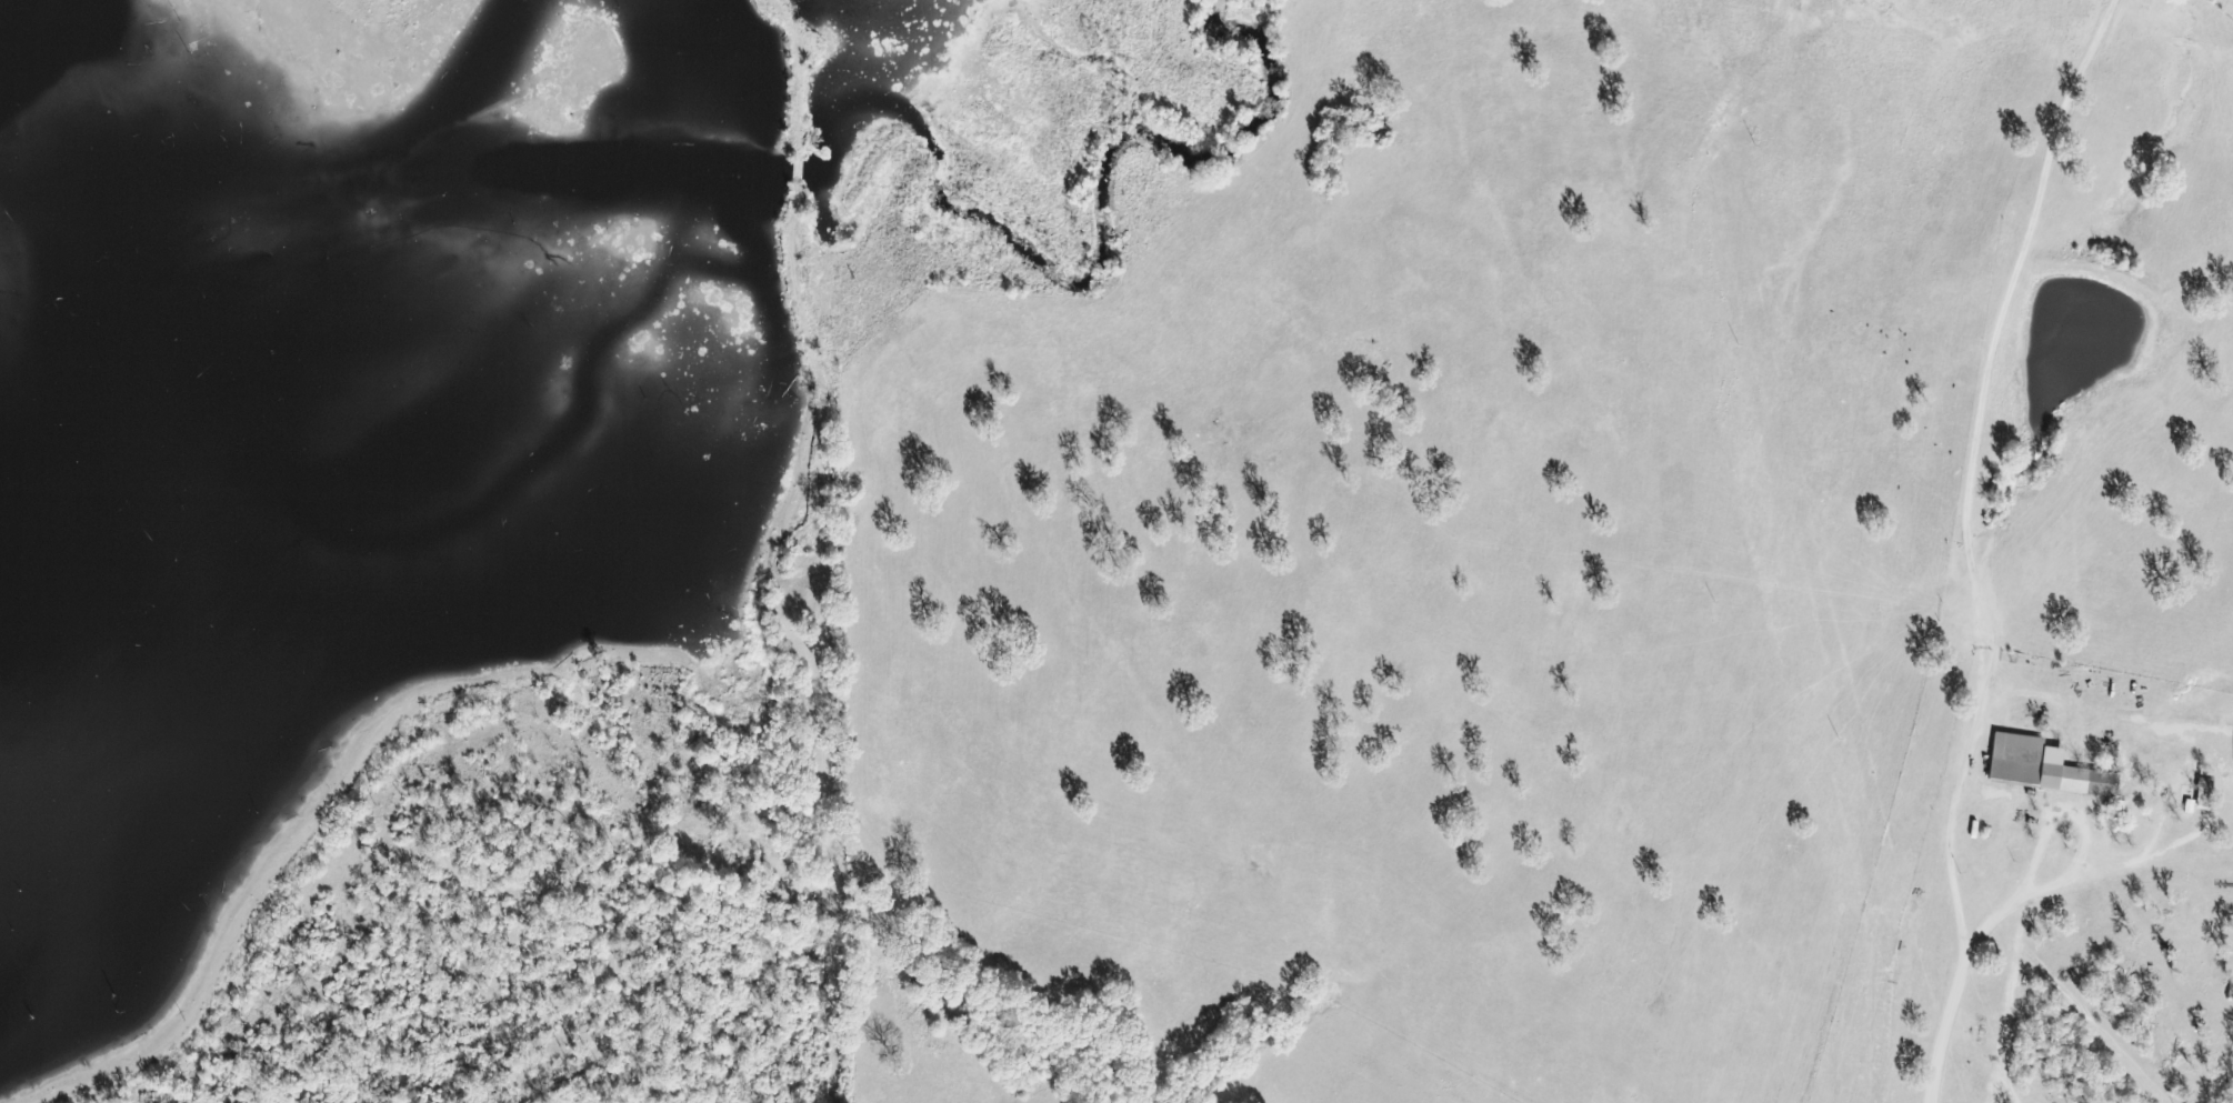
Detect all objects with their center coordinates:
building: (2232, 760)
building: (2041, 768)

